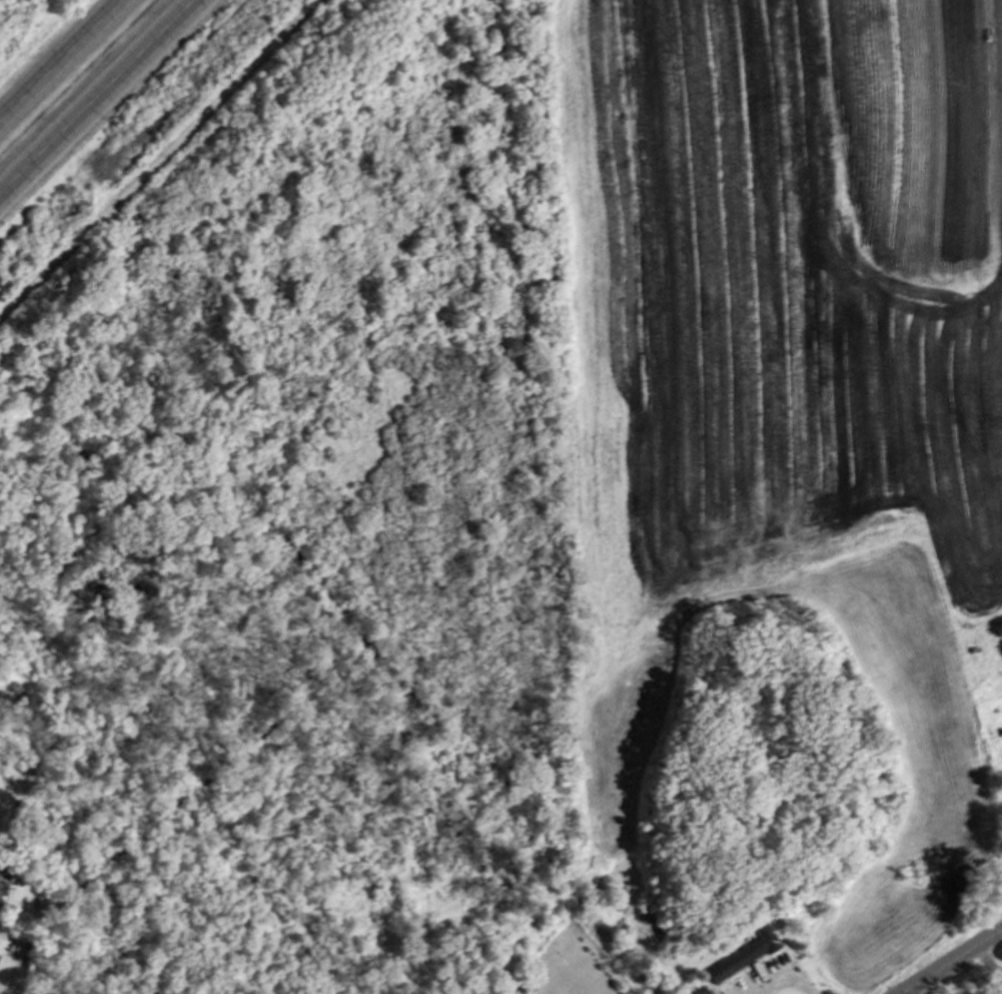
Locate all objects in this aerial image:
road: (68, 69)
road: (108, 108)
road: (160, 159)
building: (745, 958)
road: (959, 967)
road: (784, 976)
building: (523, 992)

